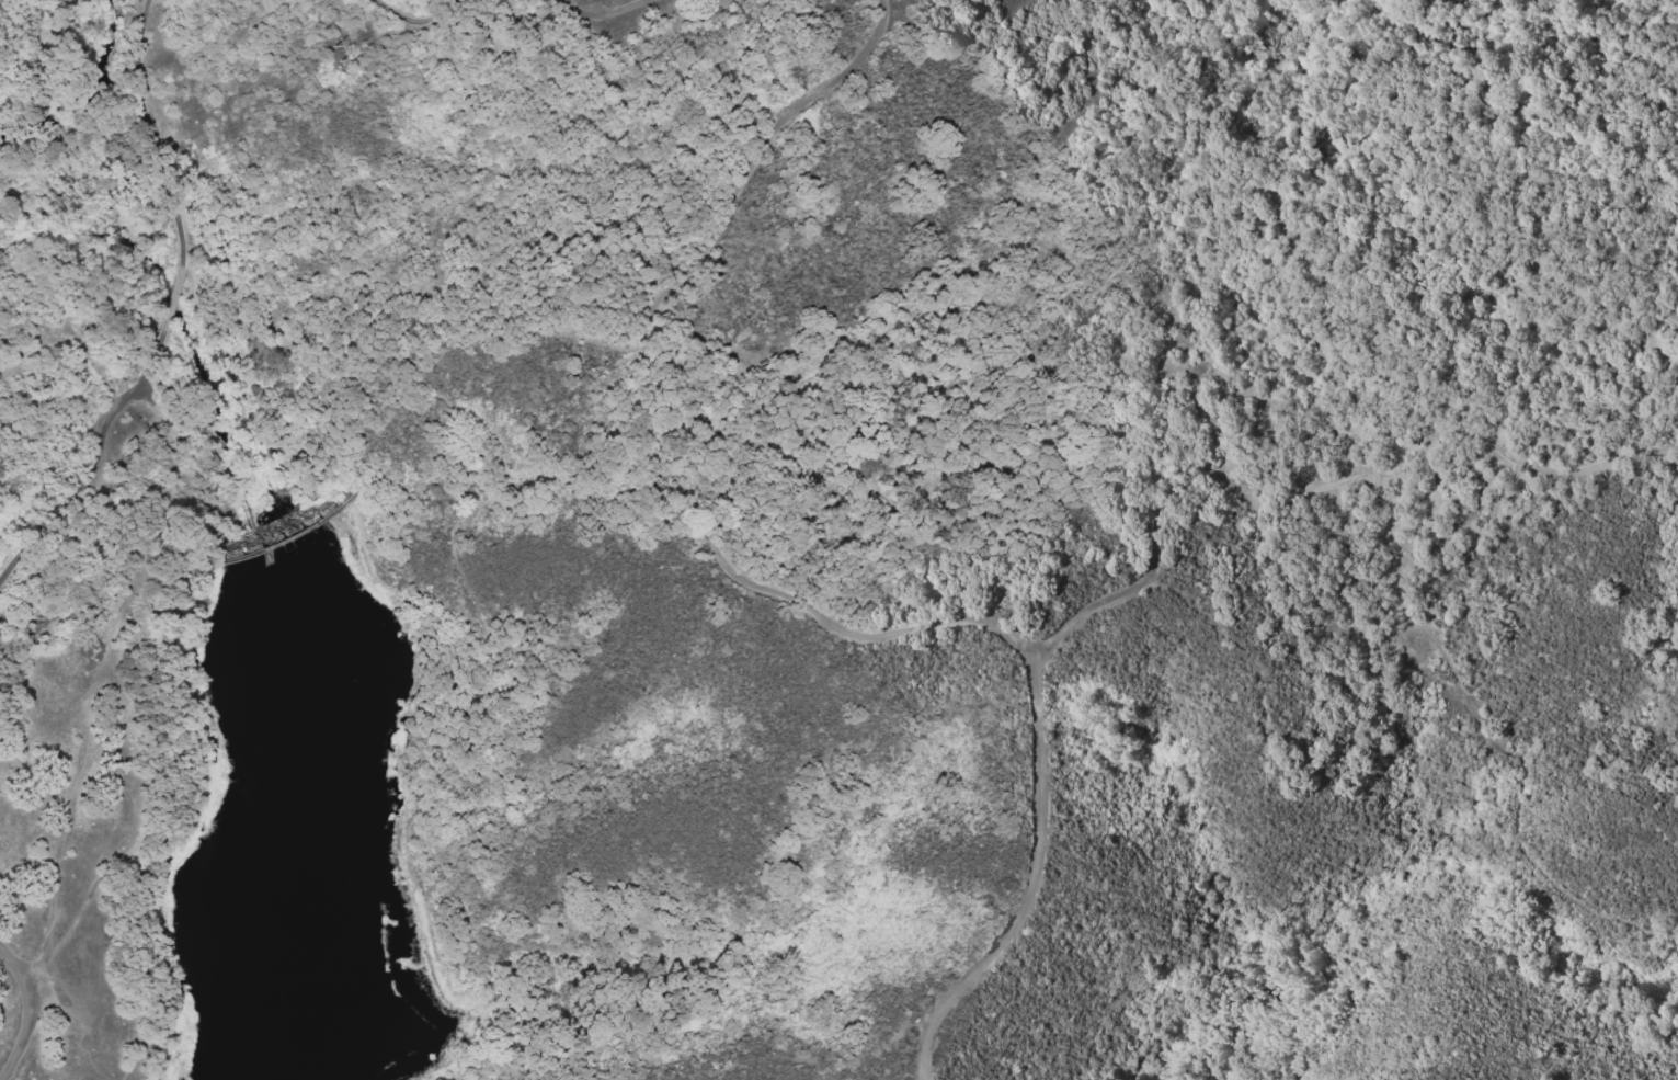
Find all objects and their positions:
road: (606, 13)
road: (415, 19)
road: (157, 139)
road: (455, 208)
road: (175, 298)
road: (496, 327)
road: (70, 340)
building: (768, 373)
road: (1493, 389)
road: (672, 408)
road: (101, 463)
road: (1319, 486)
dam: (277, 530)
road: (594, 534)
road: (285, 541)
road: (440, 606)
road: (491, 667)
road: (167, 774)
road: (58, 844)
road: (1028, 885)
road: (26, 1011)

